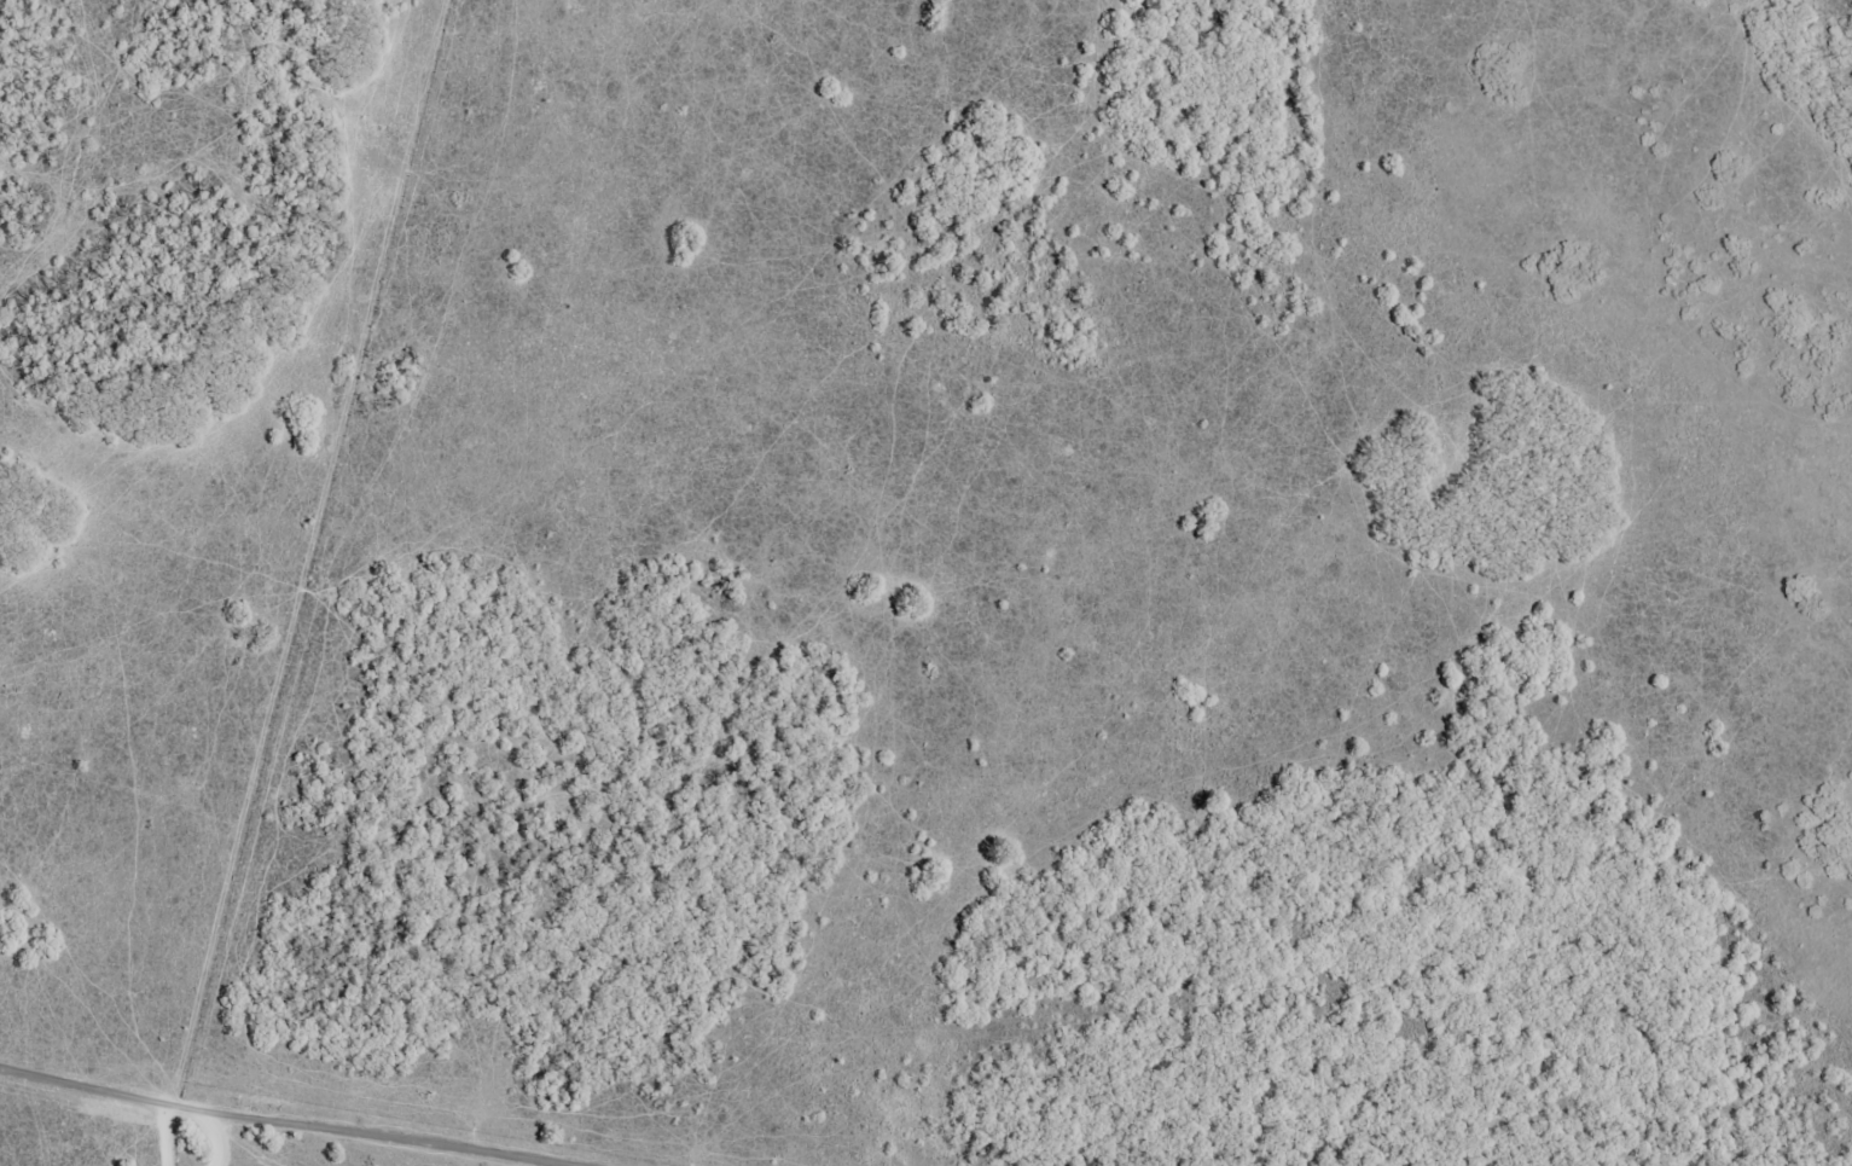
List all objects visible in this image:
road: (301, 1113)
road: (19, 1116)

